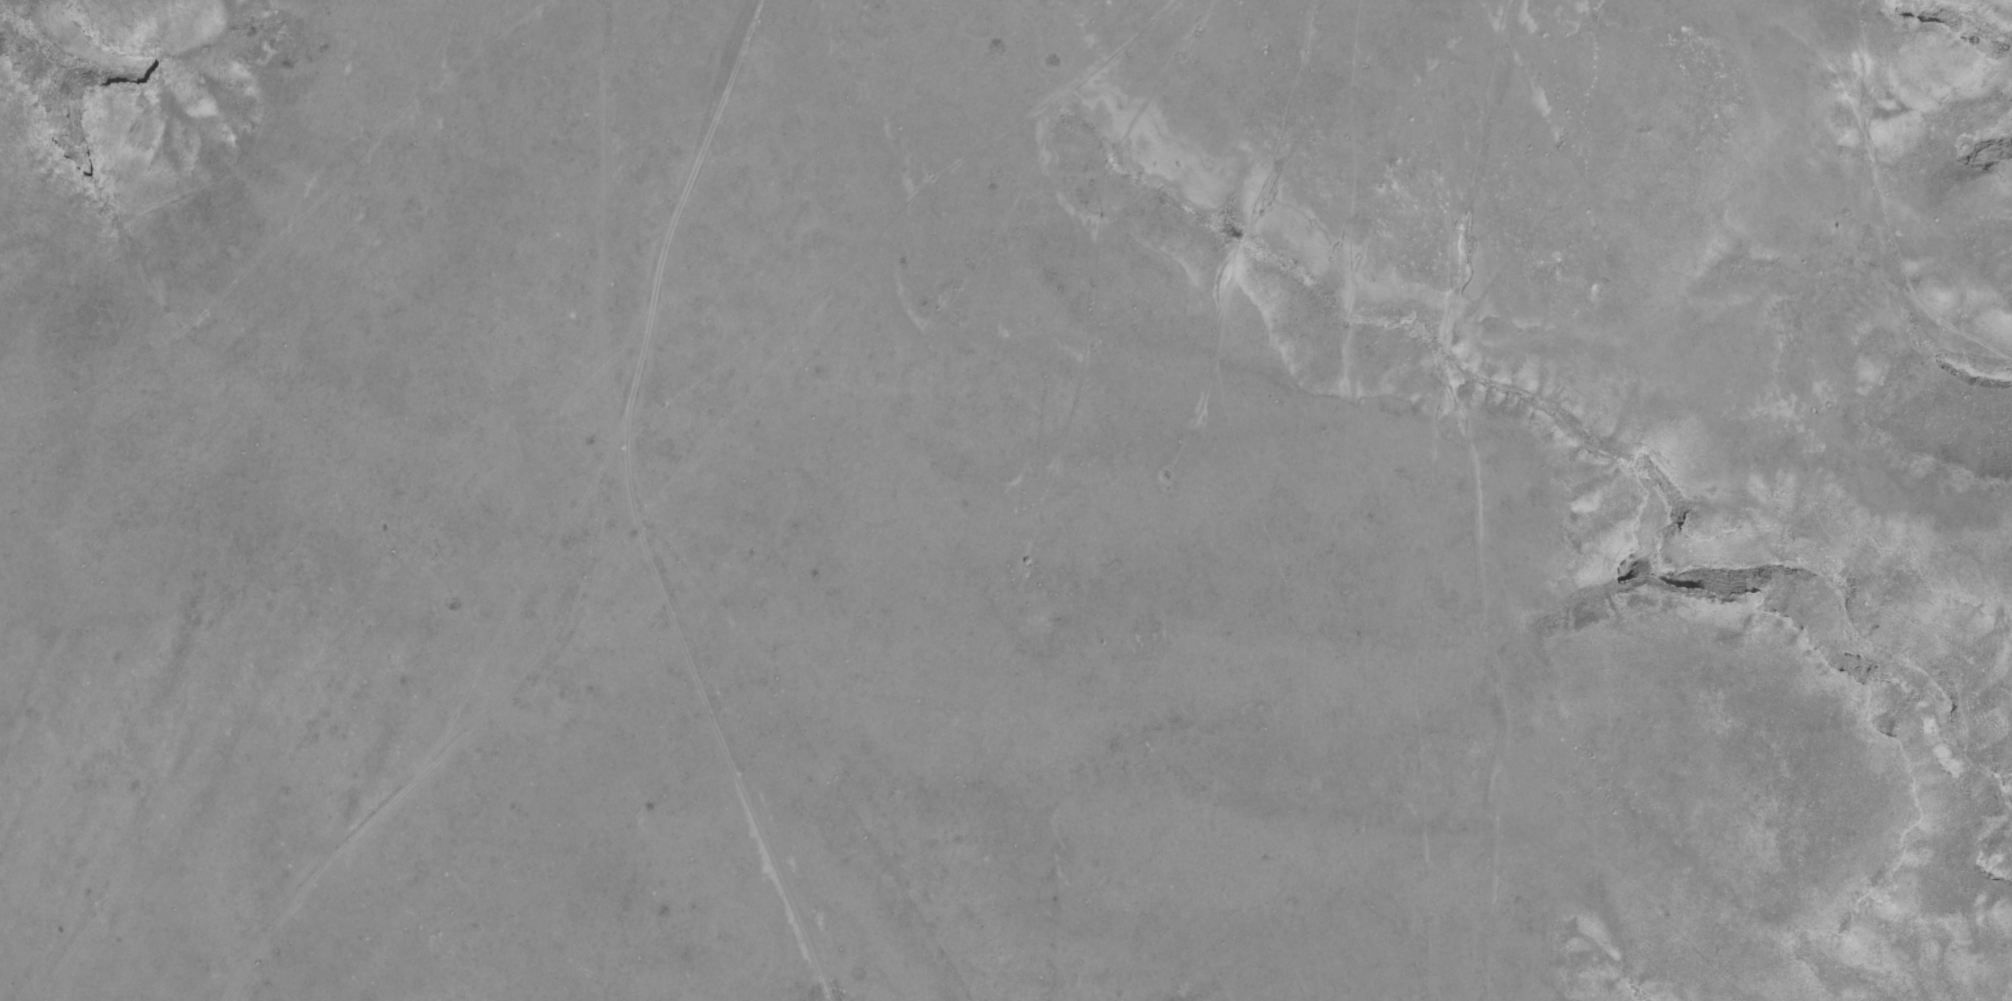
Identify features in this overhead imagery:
road: (593, 538)

